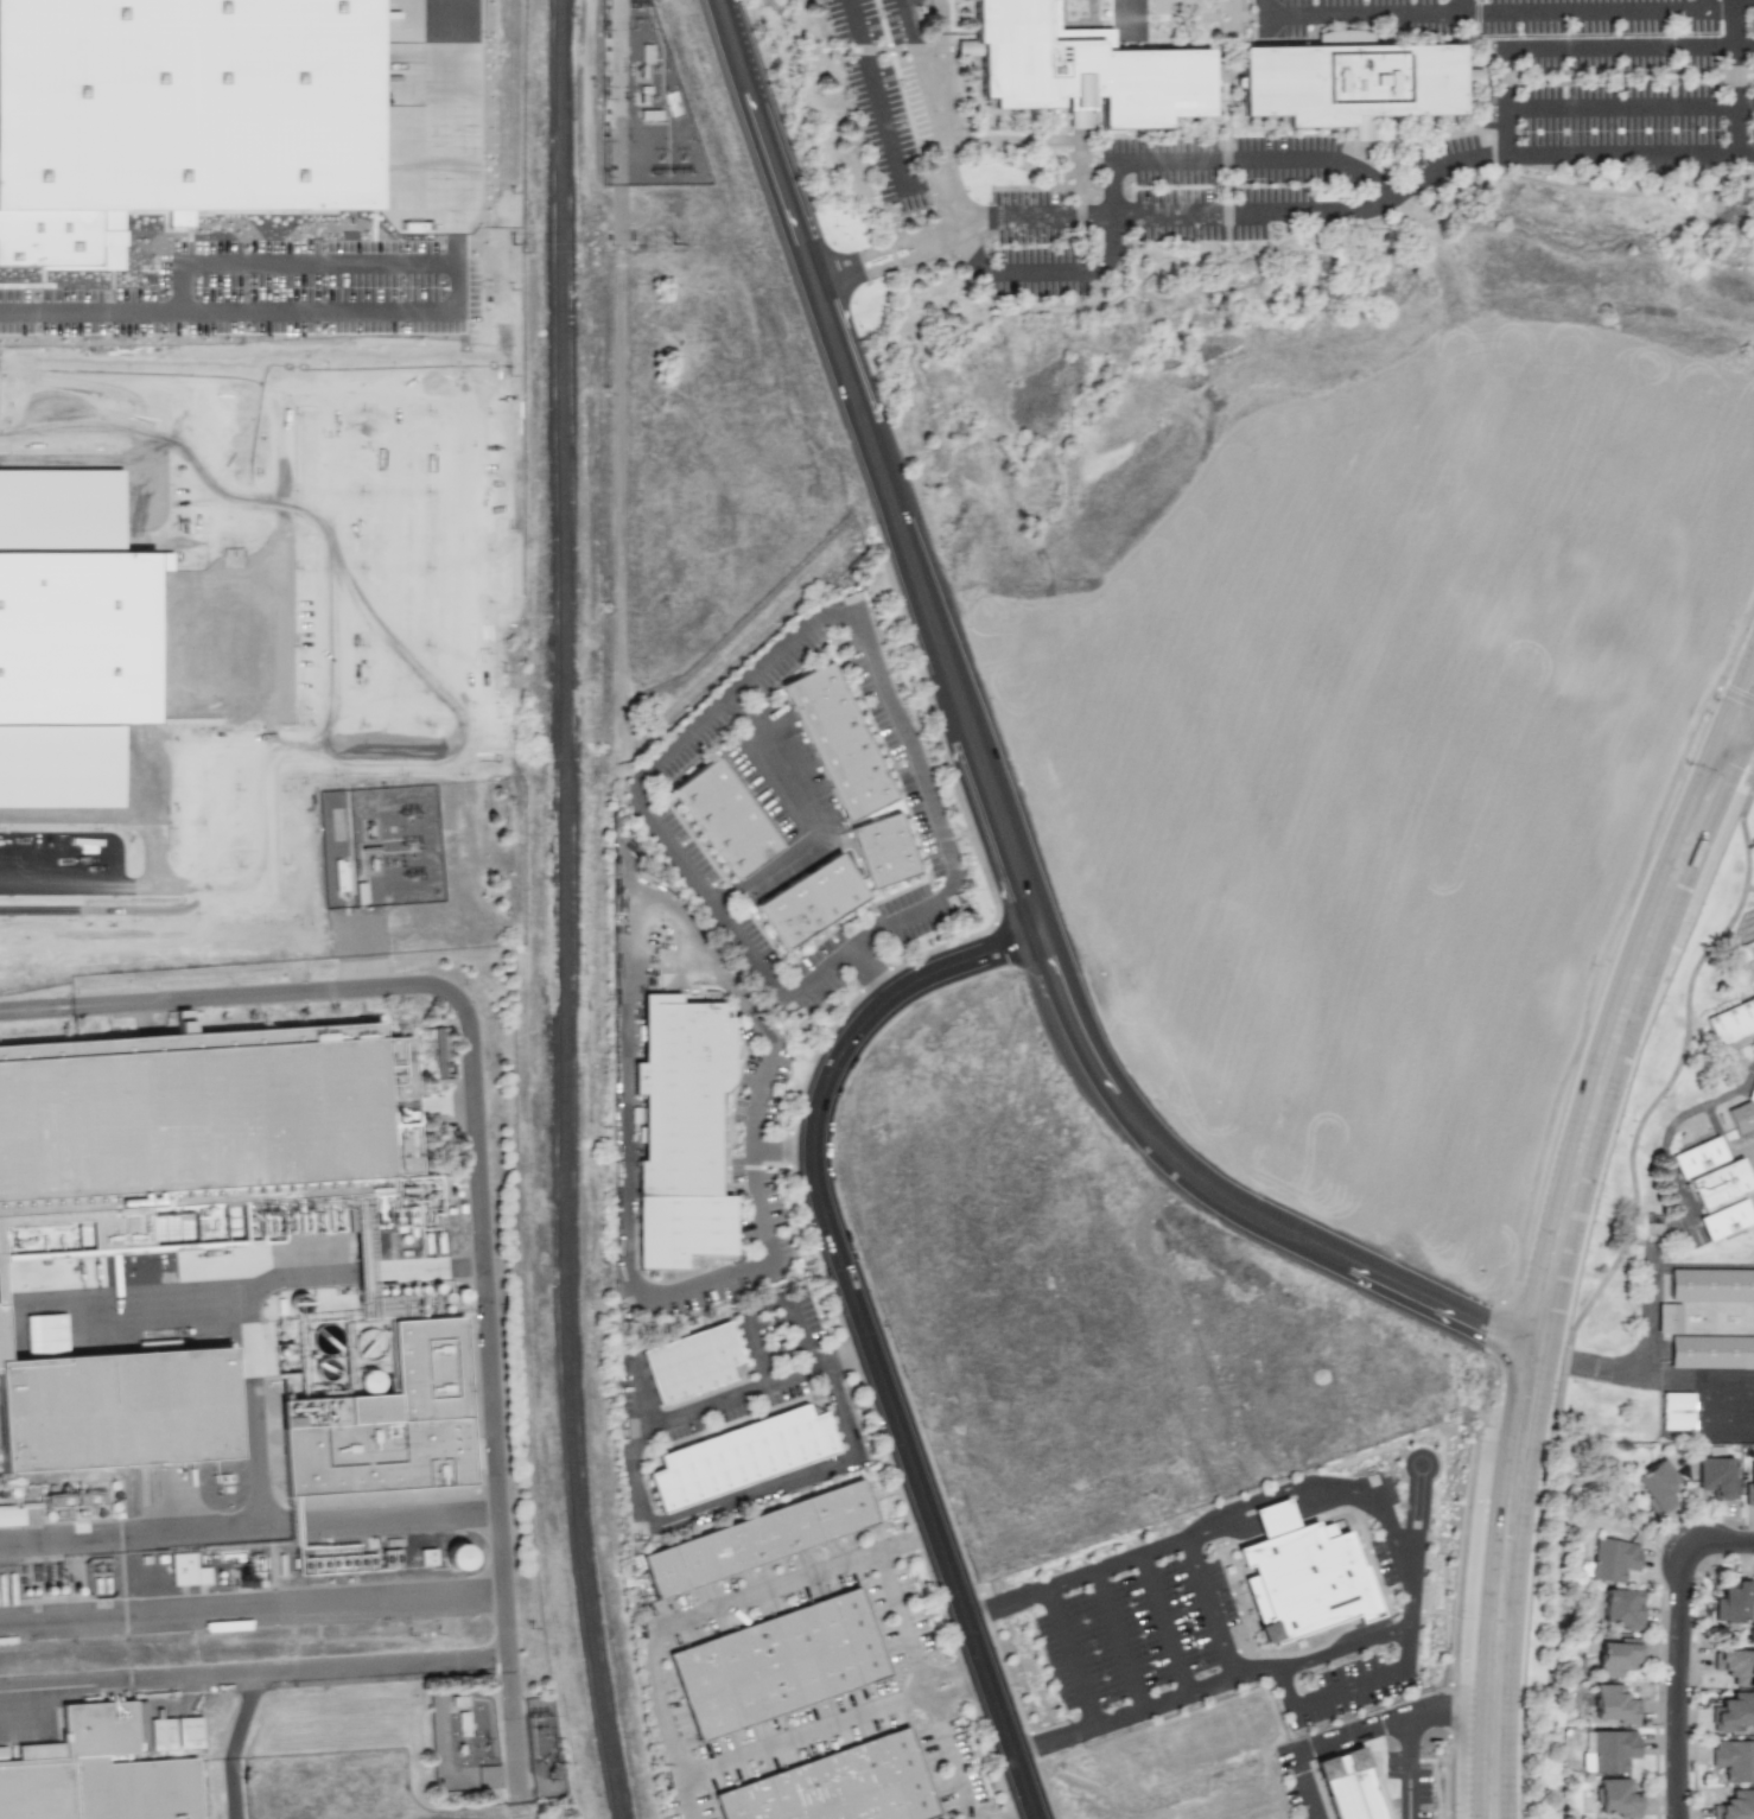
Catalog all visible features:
building: (960, 0)
road: (1188, 7)
road: (1466, 7)
power tower: (643, 8)
road: (1239, 8)
road: (1228, 12)
road: (1723, 12)
road: (1491, 13)
road: (1156, 19)
road: (1481, 19)
road: (898, 50)
road: (1577, 50)
street lamp: (781, 64)
road: (927, 68)
road: (946, 68)
road: (1228, 68)
building: (1087, 69)
road: (1739, 76)
road: (1608, 78)
building: (1351, 83)
road: (1482, 96)
power substation: (647, 104)
road: (1631, 108)
road: (884, 114)
building: (182, 121)
road: (622, 123)
road: (453, 132)
road: (1445, 139)
road: (1015, 141)
road: (1366, 144)
road: (1355, 151)
road: (1123, 161)
power tower: (665, 174)
power tower: (685, 174)
road: (1231, 174)
road: (948, 185)
road: (1054, 189)
road: (1083, 193)
road: (1285, 214)
street lamp: (838, 228)
road: (1229, 253)
road: (1237, 257)
road: (298, 263)
road: (1164, 263)
road: (1125, 276)
road: (455, 286)
road: (227, 309)
road: (103, 371)
road: (331, 394)
road: (157, 399)
road: (78, 424)
road: (91, 459)
road: (623, 500)
road: (269, 502)
road: (330, 567)
road: (464, 567)
building: (69, 630)
road: (395, 662)
road: (742, 687)
street lamp: (1716, 697)
road: (1746, 719)
road: (1747, 740)
building: (840, 743)
traffic signals: (1729, 763)
street lamp: (1684, 768)
road: (992, 783)
road: (107, 813)
power tower: (411, 815)
building: (727, 816)
road: (811, 820)
road: (267, 844)
power tower: (413, 847)
power substation: (381, 848)
building: (888, 852)
power tower: (415, 878)
road: (103, 888)
street lamp: (981, 891)
building: (814, 902)
road: (179, 907)
railway: (560, 911)
road: (363, 939)
building: (1752, 952)
street lamp: (900, 960)
street lamp: (1593, 962)
street lamp: (1019, 974)
building: (1730, 1022)
road: (625, 1042)
building: (1753, 1042)
street lamp: (816, 1052)
building: (686, 1098)
building: (1742, 1113)
building: (205, 1118)
street lamp: (1632, 1120)
building: (1697, 1157)
road: (482, 1181)
street lamp: (795, 1183)
building: (1720, 1184)
building: (1724, 1220)
road: (1690, 1223)
road: (1551, 1264)
road: (431, 1268)
road: (369, 1272)
road: (301, 1276)
building: (1710, 1284)
road: (246, 1302)
road: (764, 1304)
street lamp: (838, 1316)
building: (1667, 1318)
road: (864, 1325)
building: (45, 1333)
building: (1710, 1351)
building: (694, 1365)
road: (1590, 1366)
street lamp: (1571, 1380)
street lamp: (1496, 1395)
building: (116, 1407)
building: (1676, 1411)
building: (392, 1422)
street lamp: (923, 1430)
building: (743, 1459)
building: (1717, 1476)
building: (1657, 1486)
building: (1749, 1488)
road: (1340, 1489)
road: (1629, 1509)
road: (642, 1519)
road: (249, 1526)
building: (757, 1539)
street lamp: (1659, 1550)
building: (426, 1557)
building: (457, 1557)
building: (1612, 1559)
building: (186, 1570)
building: (1303, 1571)
road: (1076, 1576)
street lamp: (927, 1583)
road: (1563, 1591)
building: (1733, 1602)
road: (252, 1603)
building: (1621, 1608)
road: (1209, 1610)
street lamp: (1456, 1620)
road: (1161, 1627)
street lamp: (1665, 1639)
road: (1119, 1641)
road: (1342, 1646)
road: (1682, 1649)
street lamp: (1542, 1651)
building: (1616, 1656)
road: (1070, 1658)
building: (776, 1664)
building: (1735, 1665)
road: (253, 1672)
road: (1244, 1678)
road: (921, 1684)
street lamp: (1019, 1692)
building: (1614, 1704)
road: (1450, 1711)
building: (1733, 1712)
road: (667, 1716)
power tower: (538, 1719)
building: (189, 1732)
building: (161, 1734)
power substation: (462, 1737)
road: (233, 1743)
power tower: (554, 1744)
road: (1320, 1747)
power tower: (485, 1749)
power substation: (544, 1749)
building: (1608, 1750)
building: (2, 1754)
building: (1734, 1760)
road: (1410, 1768)
power tower: (552, 1772)
building: (98, 1773)
building: (835, 1786)
building: (1351, 1786)
street lamp: (1697, 1788)
road: (685, 1798)
building: (1616, 1798)
street lamp: (1008, 1799)
building: (1735, 1806)
street lamp: (1449, 1813)
road: (1025, 1815)

